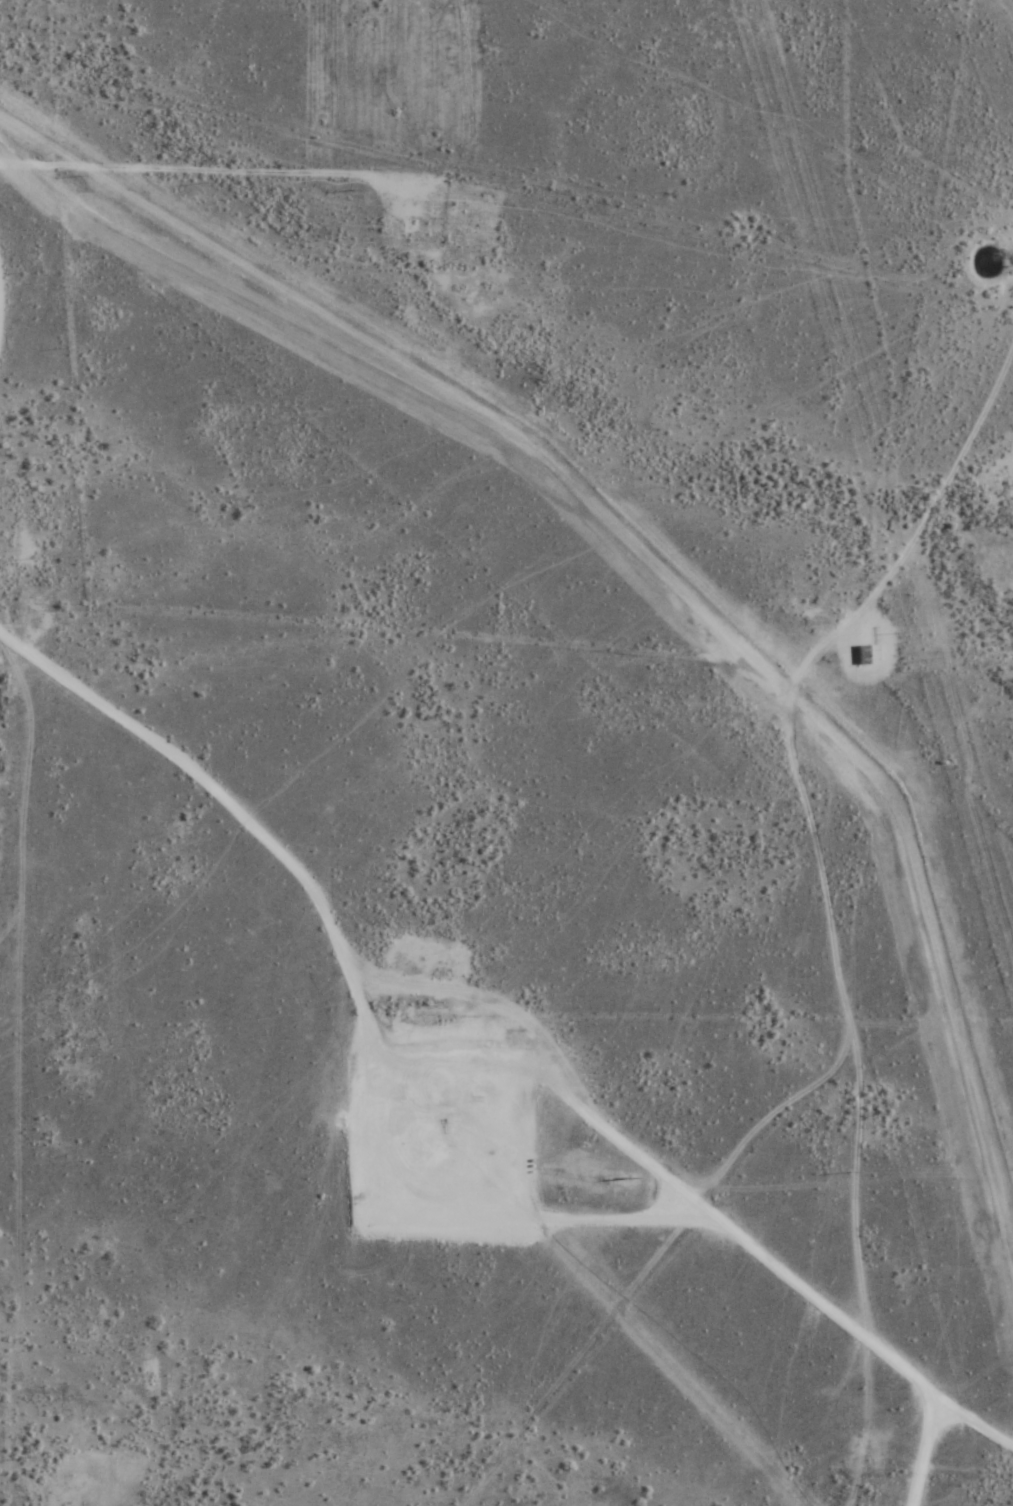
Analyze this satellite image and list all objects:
road: (919, 94)
road: (866, 830)

